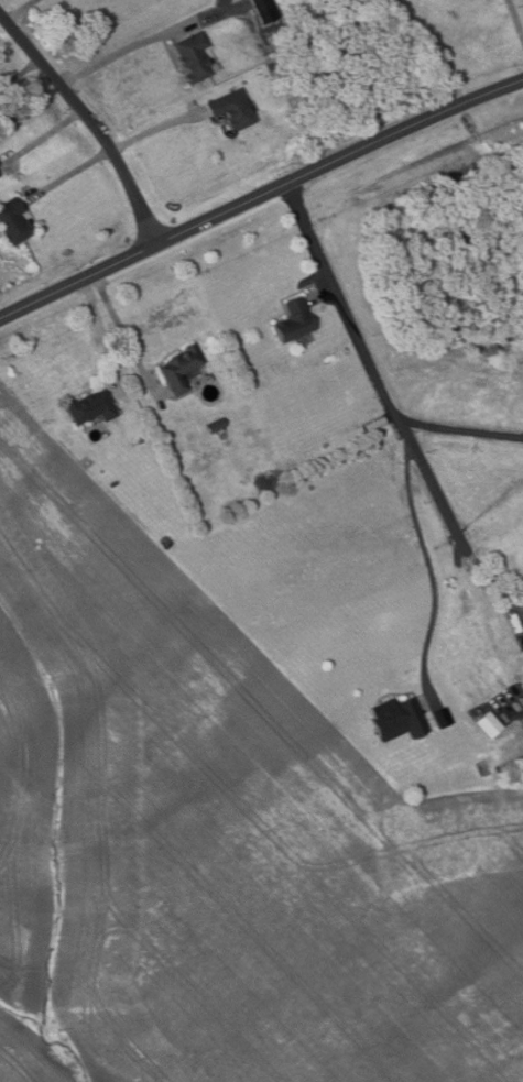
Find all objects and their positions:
road: (19, 10)
building: (264, 10)
road: (516, 15)
road: (143, 42)
building: (193, 56)
road: (20, 73)
building: (231, 109)
road: (89, 119)
road: (156, 128)
road: (44, 138)
road: (70, 173)
road: (259, 190)
building: (13, 219)
road: (319, 286)
building: (294, 320)
road: (121, 327)
road: (105, 331)
building: (181, 368)
road: (390, 405)
building: (92, 406)
building: (216, 426)
road: (464, 429)
road: (429, 549)
building: (440, 717)
building: (397, 720)
building: (488, 723)
building: (520, 726)
crop: (217, 839)

